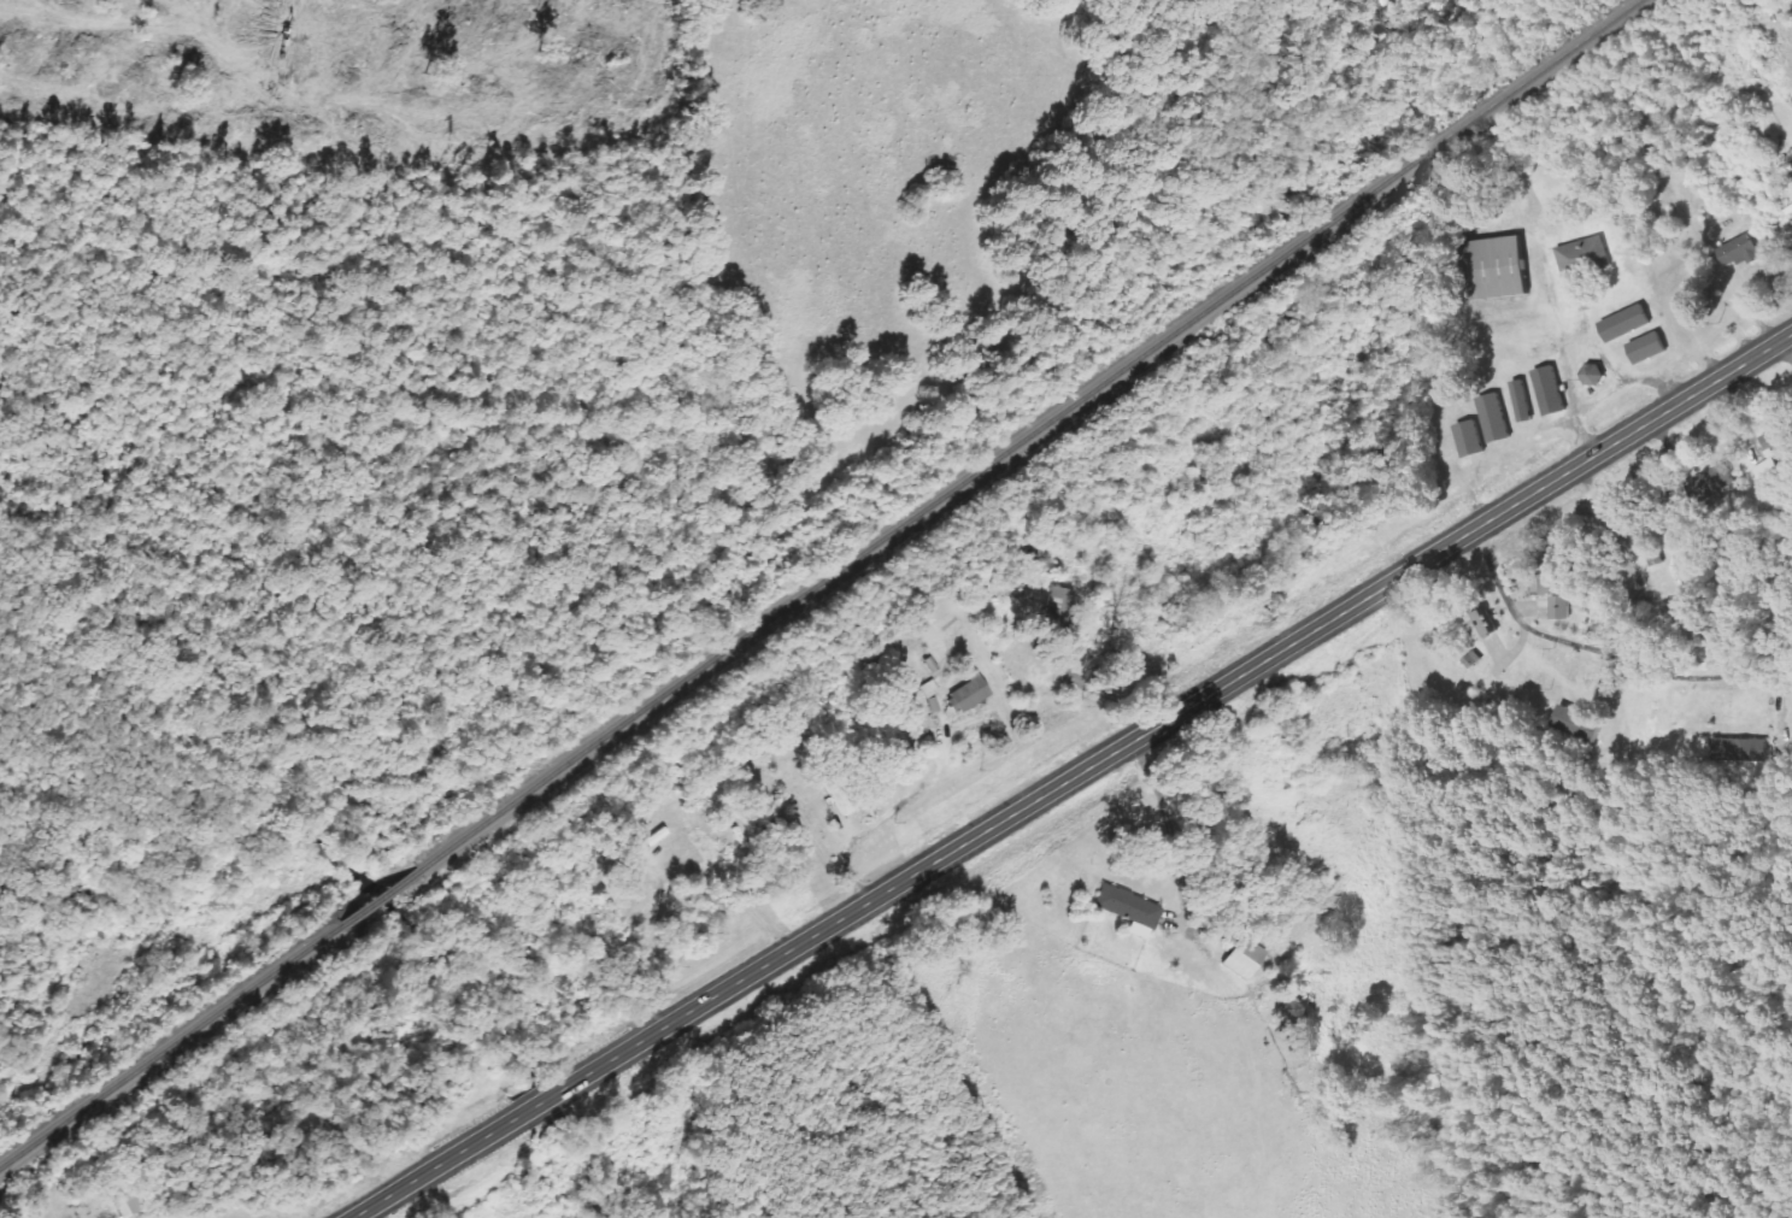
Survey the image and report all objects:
building: (1791, 226)
building: (1738, 251)
building: (1585, 257)
building: (1498, 269)
building: (1647, 348)
building: (1593, 375)
building: (1549, 392)
building: (1521, 401)
building: (1494, 418)
building: (1470, 440)
building: (1773, 454)
building: (1711, 483)
building: (1663, 514)
building: (1555, 575)
railway: (819, 583)
building: (1559, 608)
building: (1483, 626)
road: (1608, 652)
building: (965, 695)
building: (1575, 724)
building: (1738, 751)
road: (1070, 783)
building: (832, 790)
building: (1124, 907)
building: (1240, 958)

